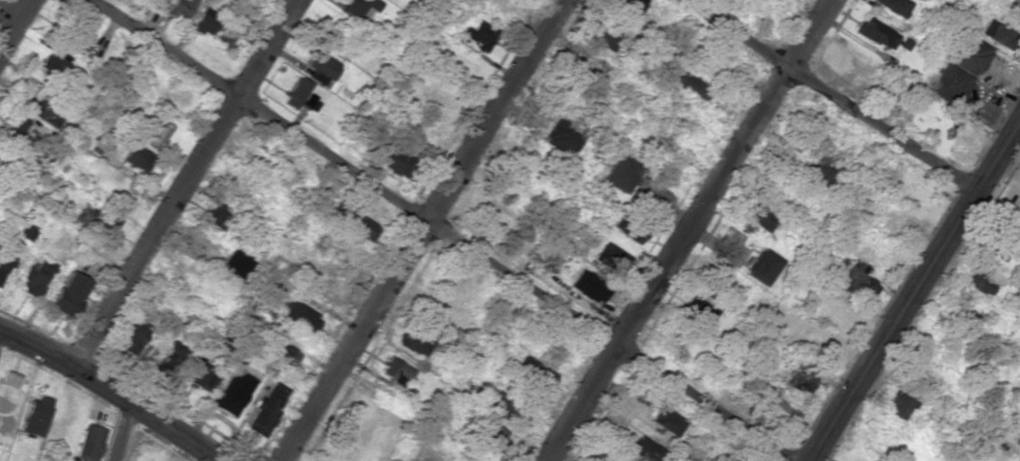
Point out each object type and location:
building: (623, 3)
park: (3, 6)
building: (895, 6)
building: (179, 8)
building: (361, 8)
road: (11, 16)
building: (204, 20)
road: (18, 30)
building: (602, 31)
building: (877, 32)
building: (479, 34)
building: (999, 34)
building: (224, 37)
building: (967, 53)
building: (58, 63)
building: (322, 67)
building: (683, 79)
building: (948, 84)
building: (295, 92)
road: (830, 94)
building: (310, 102)
building: (47, 111)
building: (14, 129)
building: (156, 134)
building: (563, 134)
building: (137, 157)
building: (398, 160)
building: (621, 173)
road: (183, 184)
building: (219, 216)
building: (761, 216)
building: (95, 221)
building: (357, 223)
road: (444, 230)
road: (690, 230)
road: (428, 232)
building: (636, 232)
building: (611, 257)
building: (4, 263)
building: (233, 265)
building: (762, 266)
building: (34, 274)
building: (976, 282)
building: (858, 284)
building: (590, 286)
road: (914, 286)
building: (68, 293)
building: (826, 302)
building: (700, 310)
building: (297, 314)
building: (777, 319)
building: (135, 332)
building: (414, 341)
building: (279, 353)
building: (170, 357)
building: (395, 370)
building: (534, 370)
building: (198, 374)
building: (232, 392)
road: (109, 395)
building: (498, 401)
building: (899, 404)
building: (266, 408)
building: (782, 411)
building: (34, 415)
building: (665, 420)
building: (491, 434)
road: (120, 435)
building: (89, 442)
building: (643, 449)

